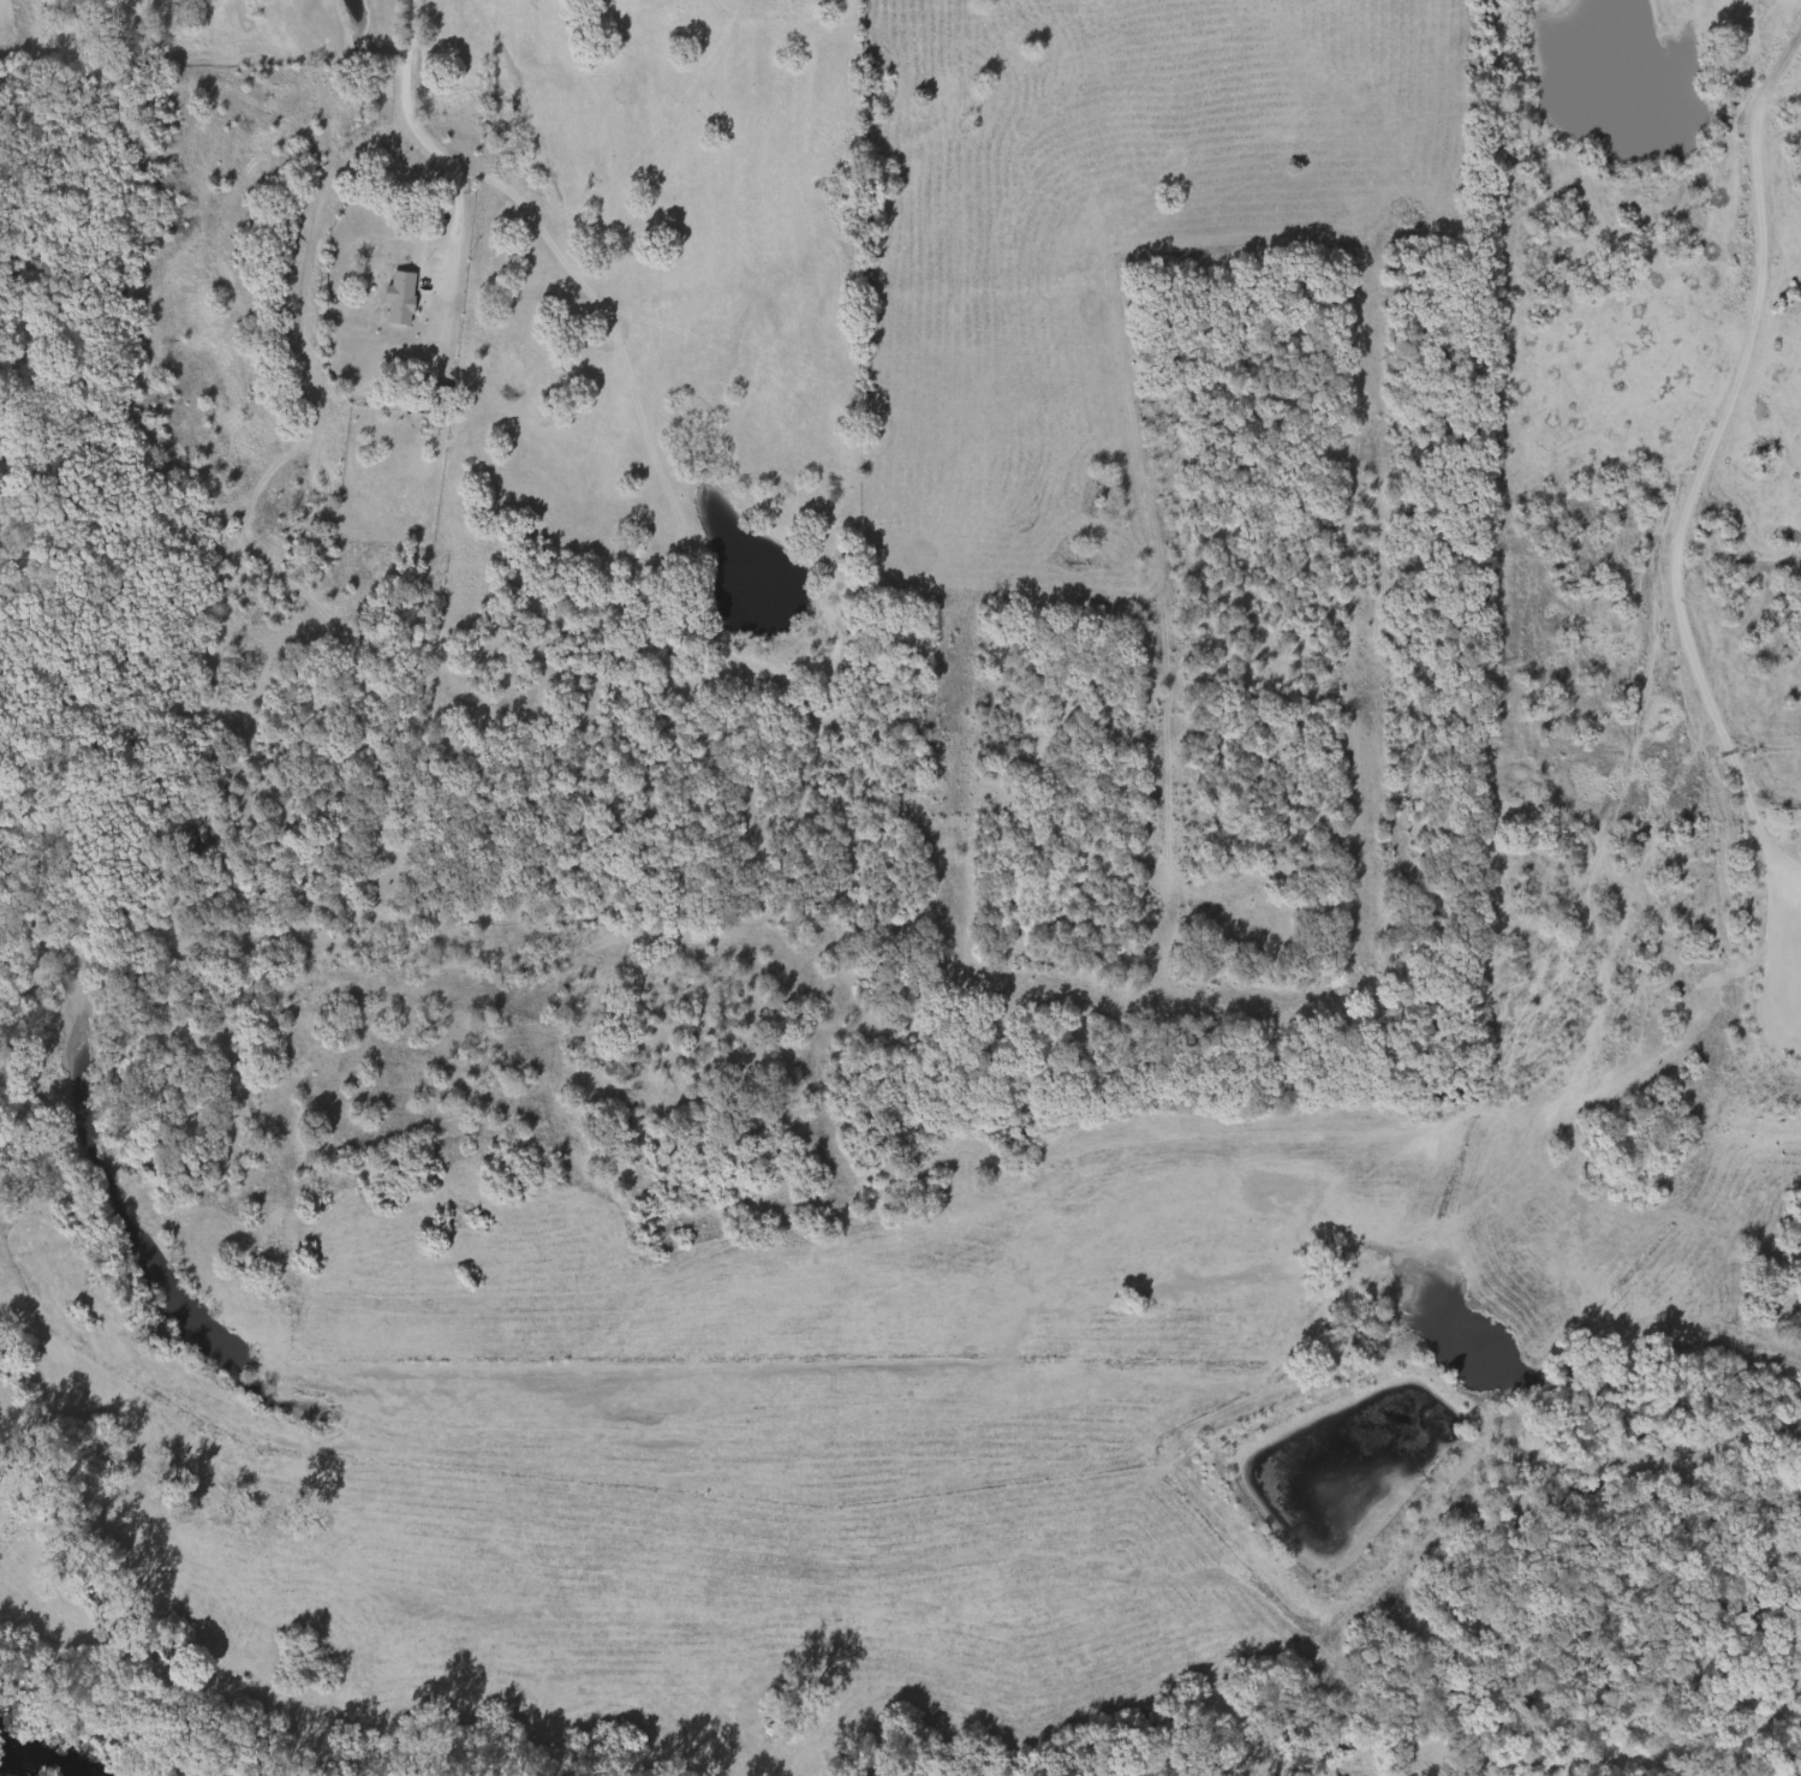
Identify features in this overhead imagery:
road: (416, 135)
building: (396, 296)
road: (1702, 461)
river: (43, 1750)

